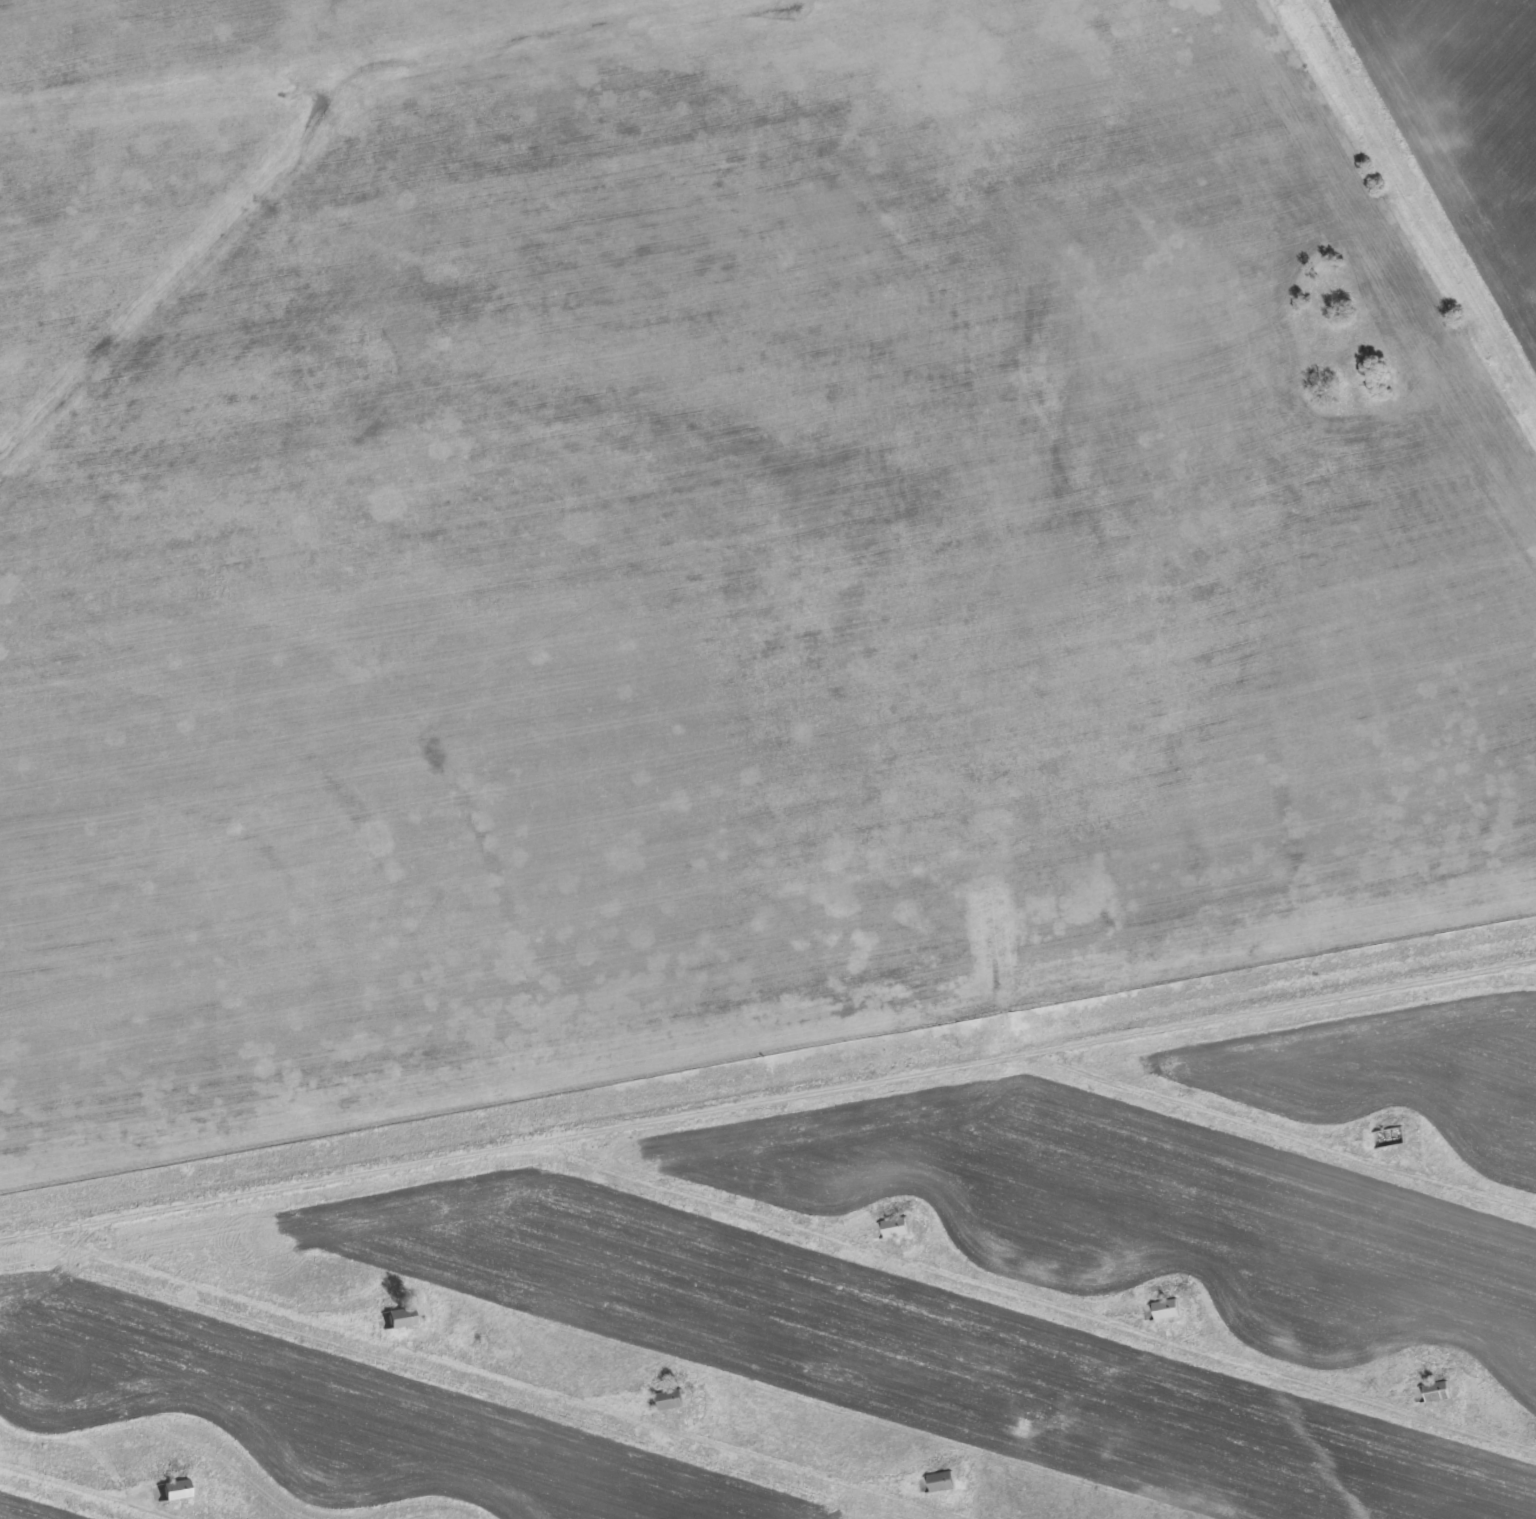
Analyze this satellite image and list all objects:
road: (1521, 967)
road: (1424, 978)
road: (656, 1119)
road: (1278, 1130)
building: (1390, 1136)
building: (894, 1226)
road: (1034, 1296)
building: (1165, 1308)
building: (400, 1316)
road: (499, 1374)
building: (1435, 1390)
building: (670, 1398)
building: (940, 1480)
building: (174, 1489)
road: (83, 1493)

